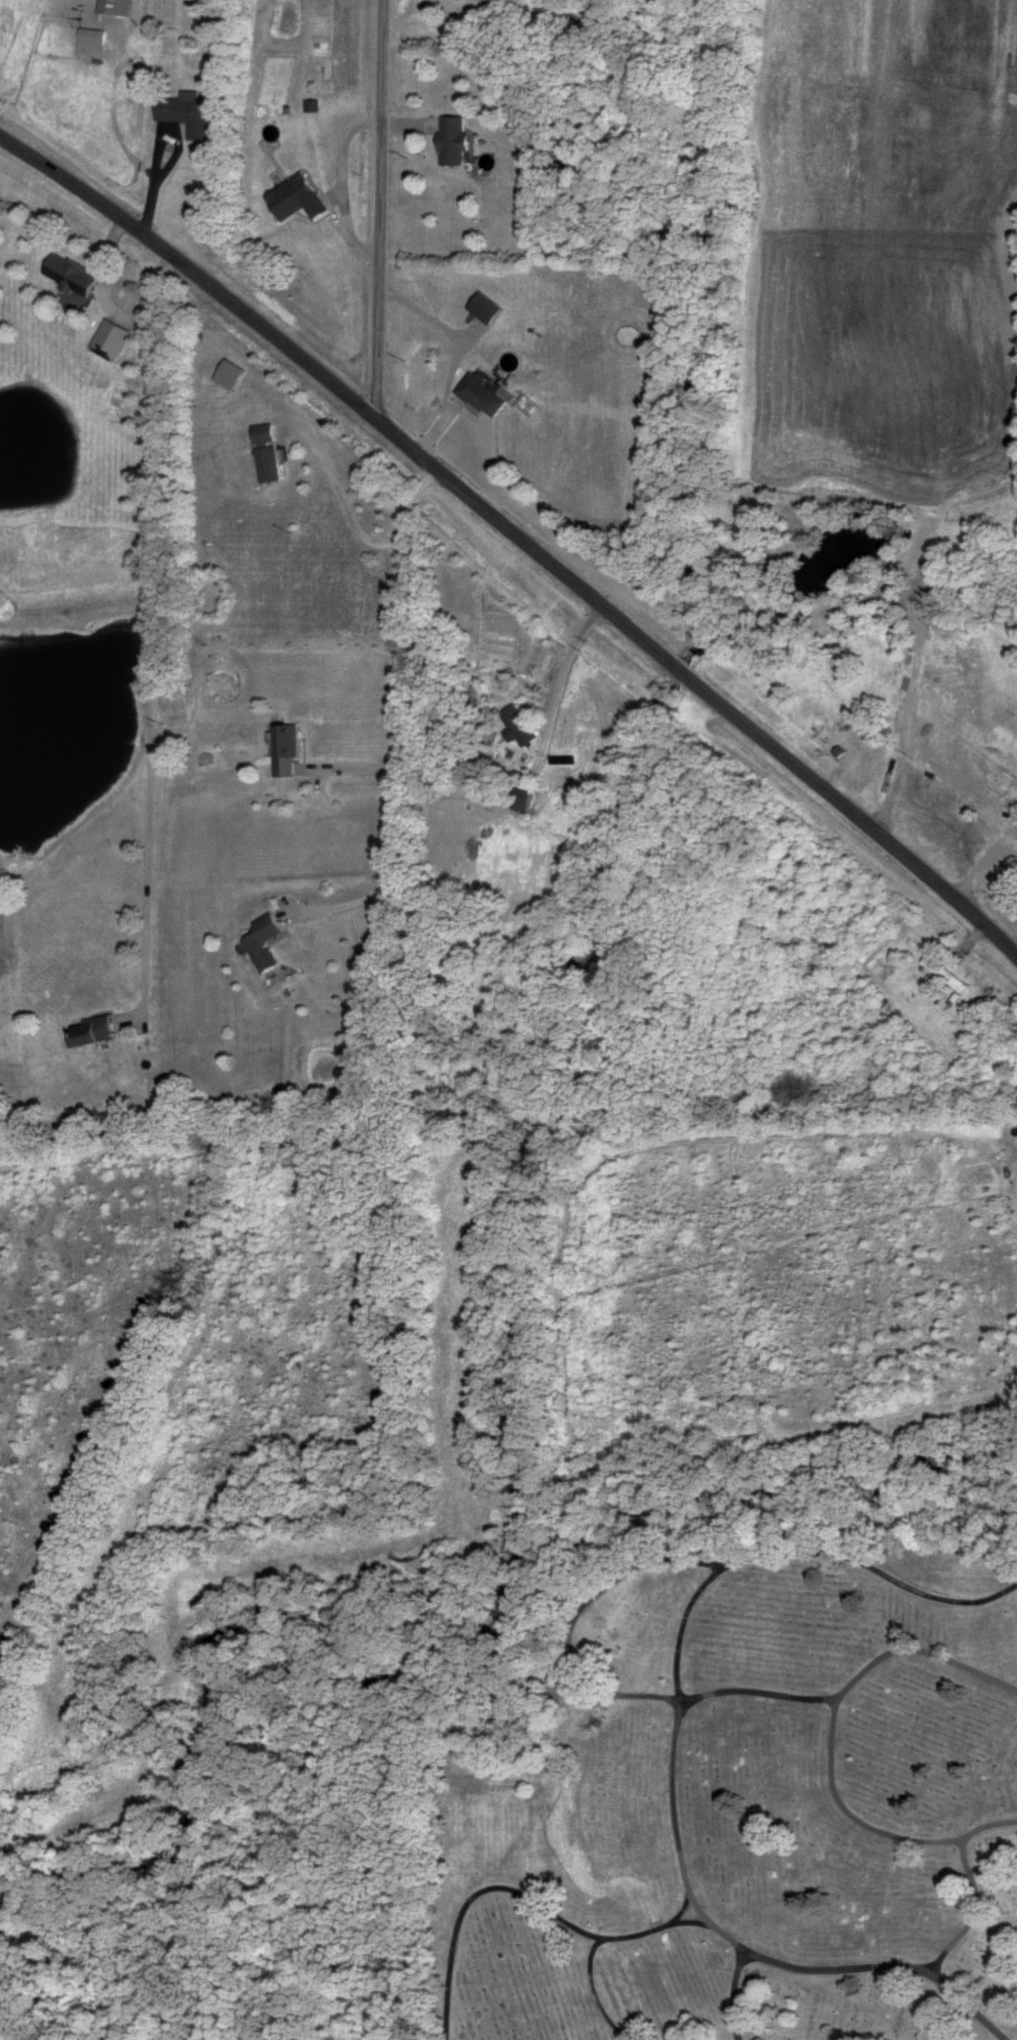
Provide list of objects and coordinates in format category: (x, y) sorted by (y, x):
building: (113, 7)
building: (90, 40)
building: (310, 107)
building: (187, 115)
building: (451, 141)
building: (294, 199)
road: (371, 204)
crop: (880, 250)
building: (68, 274)
building: (482, 308)
building: (108, 340)
building: (478, 396)
building: (265, 454)
road: (514, 538)
road: (152, 642)
road: (387, 662)
building: (514, 726)
building: (285, 751)
building: (517, 801)
building: (262, 942)
building: (942, 975)
building: (91, 1032)
road: (800, 1547)
road: (569, 1617)
road: (829, 1748)
park: (734, 1795)
road: (520, 1896)
road: (693, 1900)
road: (974, 1913)
road: (694, 1924)
road: (590, 1993)
road: (733, 1996)

